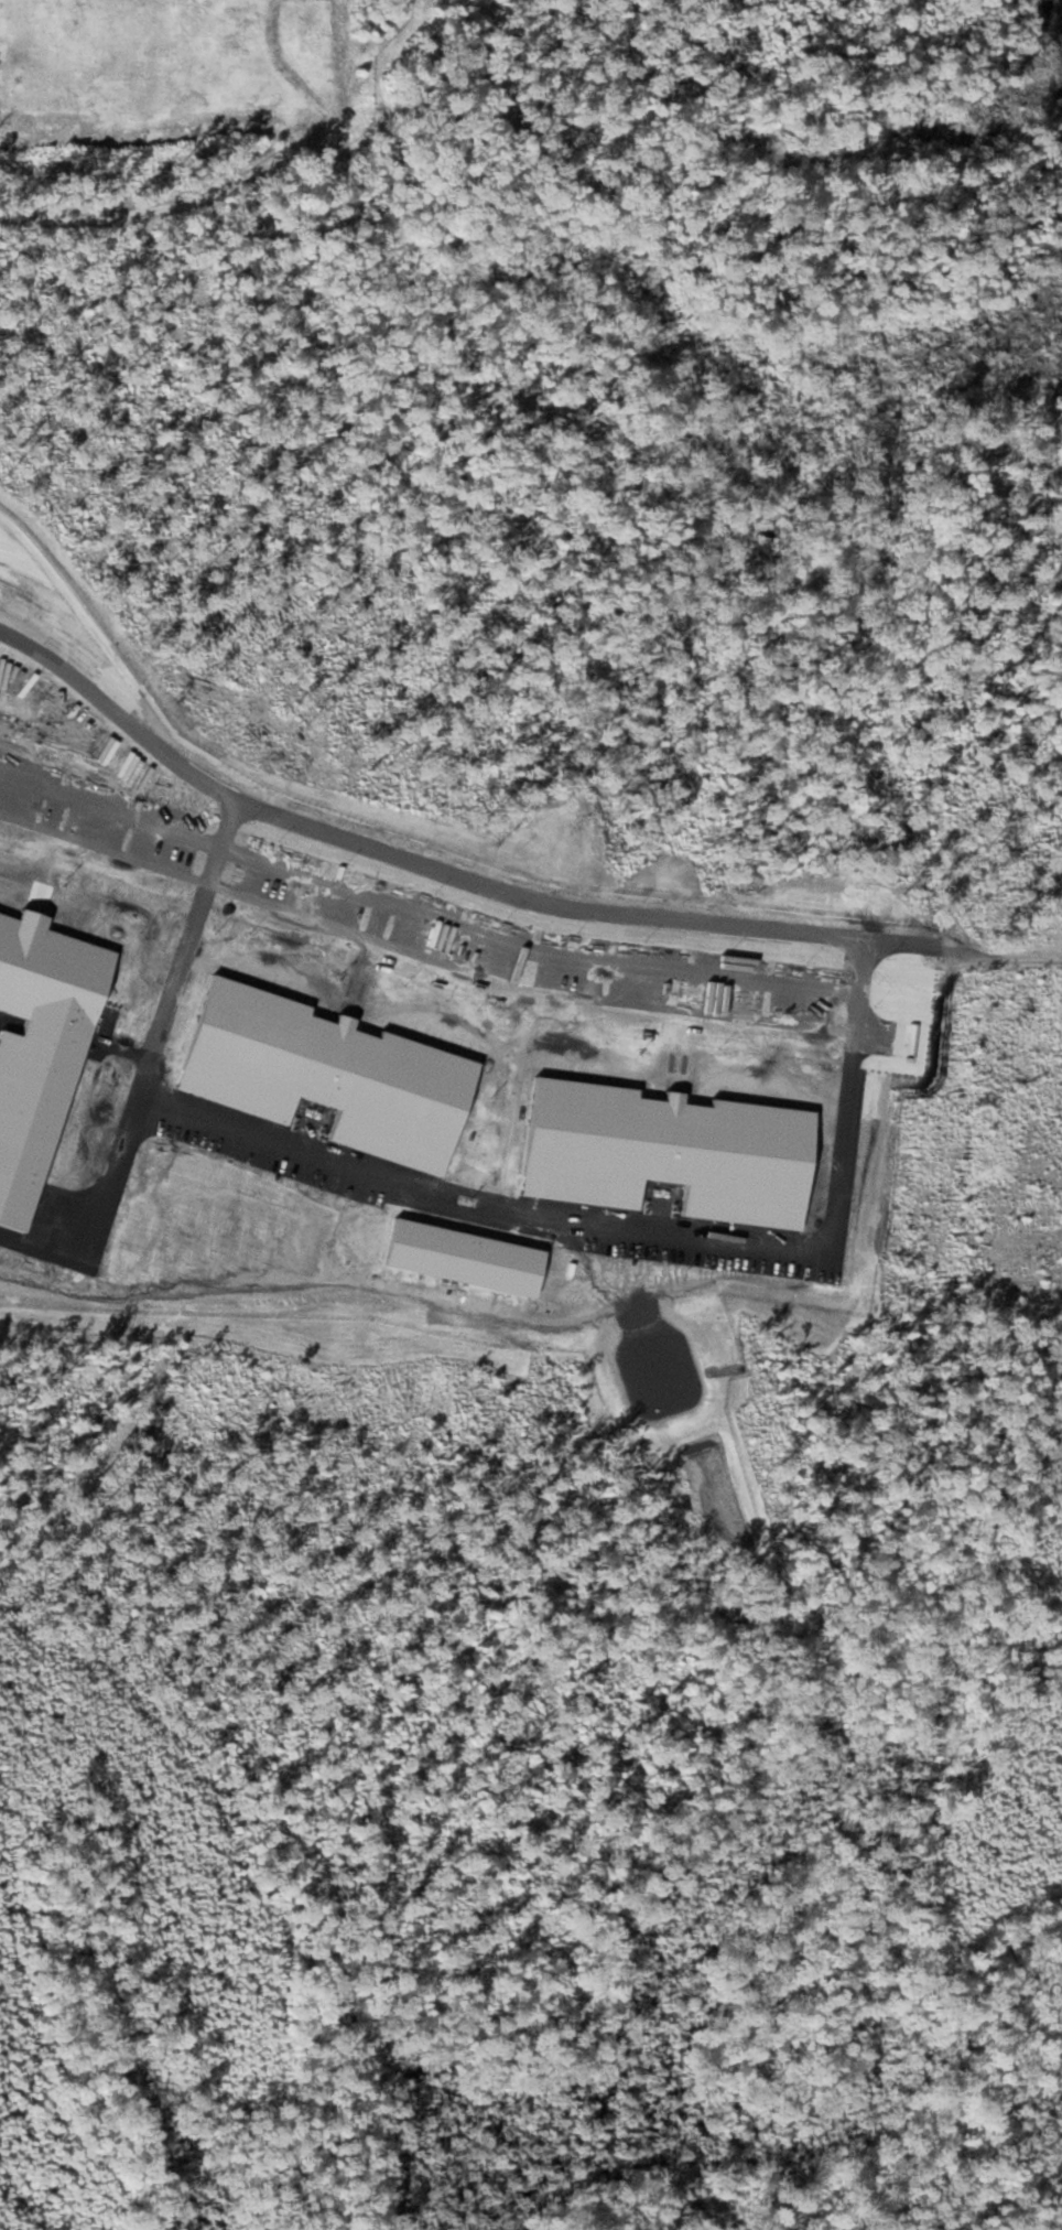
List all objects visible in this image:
road: (473, 1010)
road: (214, 1311)

